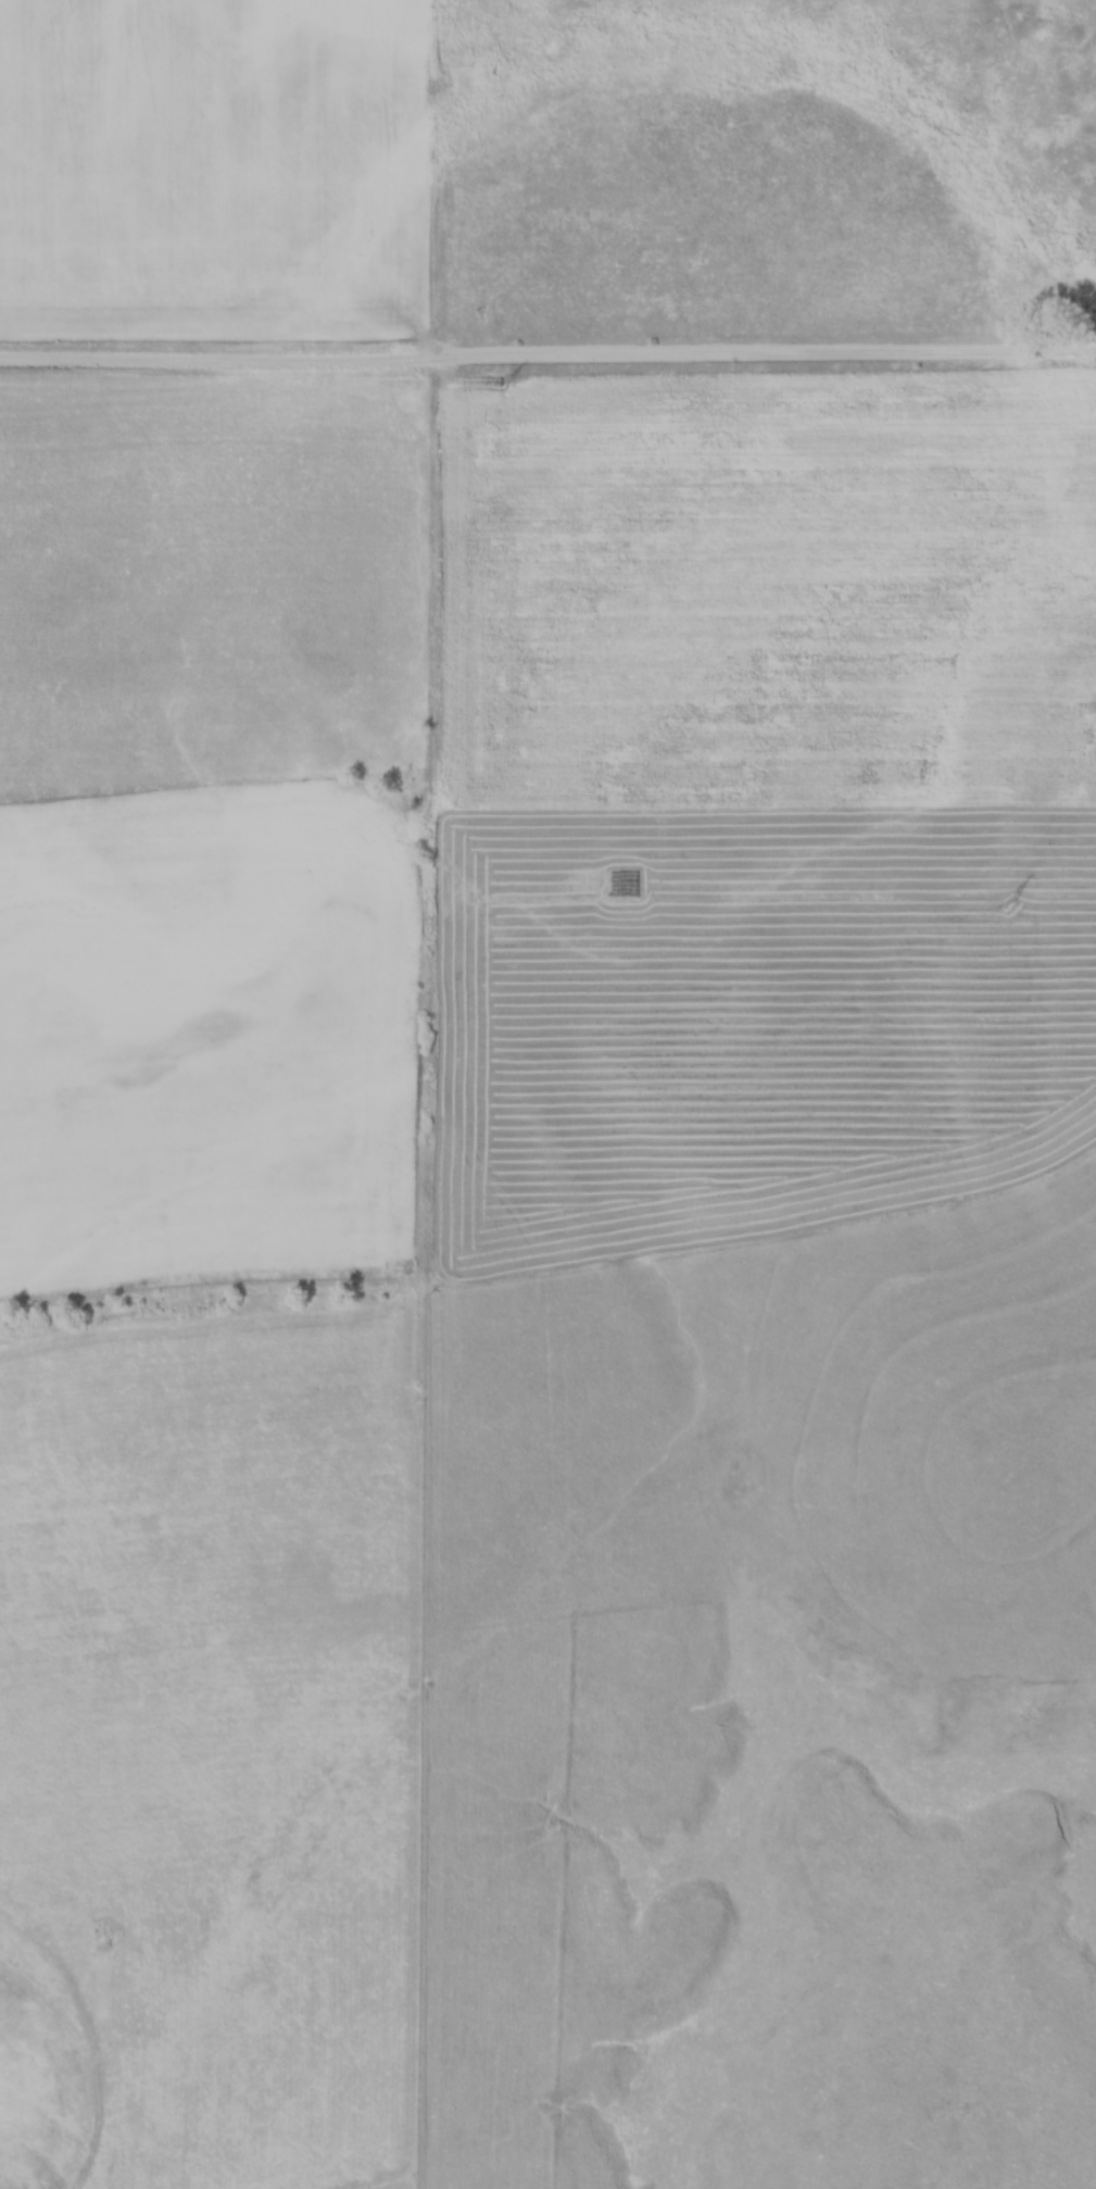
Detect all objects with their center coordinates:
road: (547, 352)
power tower: (505, 385)
power tower: (1009, 905)

